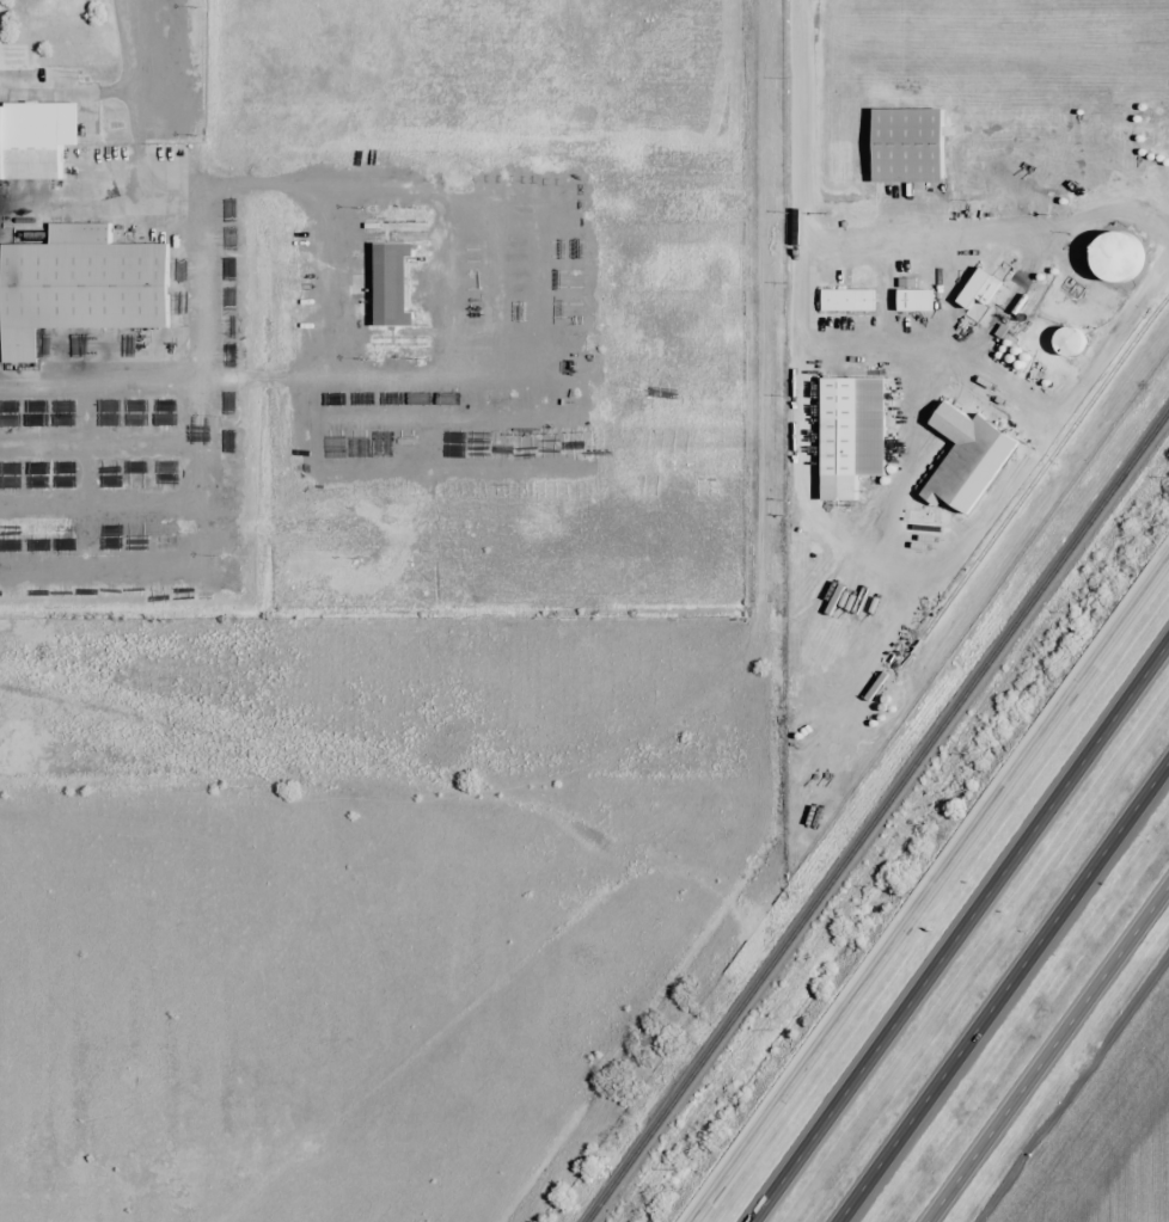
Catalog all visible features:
building: (33, 142)
building: (906, 146)
building: (1113, 257)
building: (440, 270)
building: (86, 287)
building: (846, 300)
building: (913, 300)
building: (547, 318)
building: (593, 318)
building: (522, 320)
building: (467, 323)
building: (414, 326)
building: (386, 328)
building: (1069, 342)
building: (593, 370)
building: (655, 371)
building: (391, 382)
building: (498, 386)
building: (417, 387)
building: (455, 387)
building: (365, 389)
building: (837, 438)
building: (514, 443)
railway: (1045, 467)
building: (200, 596)
railway: (877, 817)
road: (930, 889)
road: (959, 931)
road: (1003, 990)
road: (1047, 1052)

